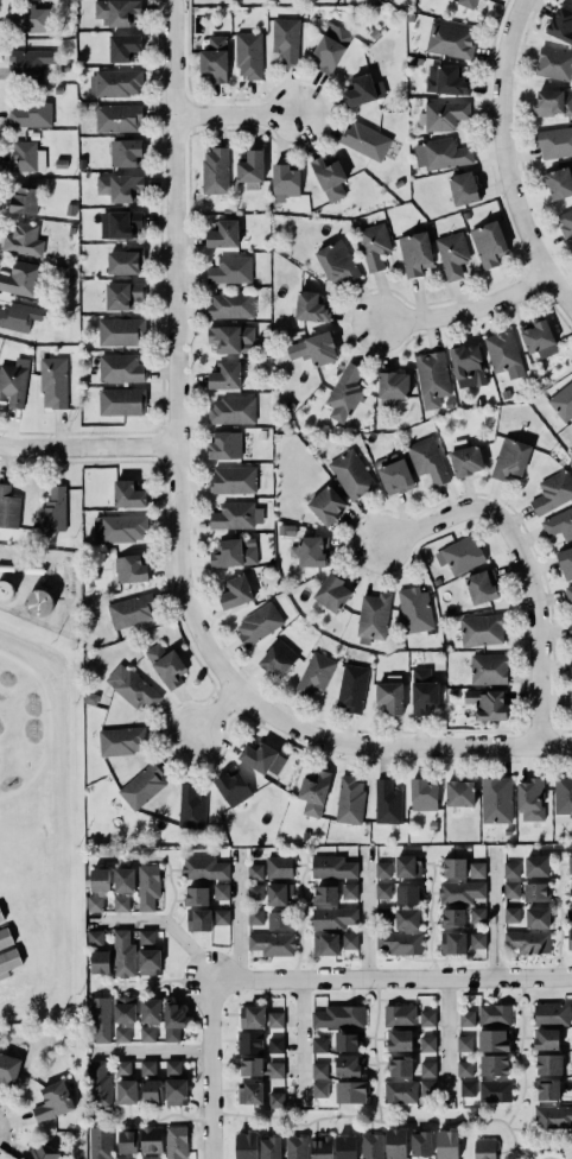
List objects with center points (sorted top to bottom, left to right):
building: (485, 0)
building: (466, 2)
building: (116, 12)
building: (31, 18)
building: (561, 24)
building: (285, 38)
building: (450, 39)
building: (123, 46)
building: (330, 46)
building: (248, 55)
building: (215, 59)
building: (553, 62)
building: (30, 63)
building: (445, 80)
building: (115, 83)
building: (363, 90)
building: (551, 102)
building: (31, 113)
building: (445, 113)
road: (234, 116)
building: (117, 119)
building: (553, 140)
building: (368, 141)
building: (126, 152)
building: (445, 153)
building: (26, 157)
road: (506, 161)
building: (250, 166)
building: (215, 171)
building: (329, 177)
building: (558, 180)
building: (285, 182)
building: (120, 186)
building: (463, 188)
building: (25, 199)
building: (120, 223)
building: (566, 223)
building: (223, 234)
building: (23, 240)
building: (489, 243)
building: (374, 246)
building: (571, 251)
building: (414, 253)
building: (452, 254)
building: (126, 261)
building: (337, 261)
building: (230, 270)
building: (20, 278)
building: (123, 294)
building: (230, 305)
building: (310, 308)
road: (464, 310)
building: (15, 317)
building: (121, 331)
building: (538, 336)
building: (231, 338)
building: (318, 348)
road: (172, 353)
building: (504, 353)
building: (469, 363)
building: (120, 368)
building: (432, 374)
building: (225, 376)
building: (53, 380)
building: (13, 384)
building: (393, 384)
building: (345, 392)
building: (121, 400)
building: (563, 401)
building: (231, 410)
road: (85, 445)
building: (224, 445)
building: (511, 457)
building: (427, 460)
building: (466, 460)
building: (351, 474)
building: (395, 476)
building: (233, 479)
building: (553, 492)
building: (128, 494)
building: (326, 505)
building: (8, 507)
building: (53, 511)
building: (233, 514)
building: (559, 522)
building: (122, 526)
building: (313, 551)
building: (234, 552)
building: (460, 555)
road: (519, 563)
building: (565, 563)
building: (131, 568)
building: (482, 587)
building: (236, 591)
building: (332, 594)
building: (568, 594)
building: (414, 609)
building: (132, 610)
building: (373, 616)
building: (259, 623)
building: (482, 628)
building: (570, 629)
building: (274, 653)
building: (164, 663)
building: (570, 665)
building: (489, 667)
building: (313, 673)
building: (129, 685)
building: (351, 688)
building: (424, 691)
building: (390, 696)
building: (488, 704)
building: (571, 709)
road: (214, 712)
building: (120, 740)
road: (395, 746)
building: (260, 755)
building: (140, 785)
building: (230, 785)
building: (313, 793)
building: (459, 793)
building: (422, 794)
building: (563, 796)
building: (349, 799)
building: (188, 800)
building: (387, 800)
building: (496, 800)
building: (530, 800)
road: (165, 862)
building: (571, 863)
building: (332, 866)
building: (408, 866)
building: (536, 866)
building: (279, 867)
building: (203, 868)
building: (455, 868)
building: (382, 869)
building: (510, 869)
building: (476, 870)
building: (255, 872)
building: (100, 880)
building: (123, 880)
building: (147, 886)
building: (571, 887)
building: (511, 889)
building: (221, 891)
building: (349, 891)
building: (382, 891)
building: (255, 892)
building: (460, 892)
building: (535, 892)
building: (279, 894)
building: (407, 894)
building: (324, 895)
building: (196, 897)
building: (95, 904)
building: (121, 904)
road: (364, 911)
road: (492, 911)
road: (235, 912)
building: (568, 913)
building: (477, 914)
building: (511, 914)
road: (301, 916)
building: (383, 916)
building: (221, 917)
building: (255, 917)
building: (332, 918)
building: (452, 918)
building: (538, 918)
building: (199, 919)
building: (406, 919)
building: (280, 920)
road: (428, 920)
road: (559, 920)
road: (159, 921)
building: (5, 933)
building: (95, 937)
building: (146, 937)
building: (568, 938)
building: (477, 939)
building: (349, 940)
building: (528, 942)
building: (399, 943)
building: (453, 943)
building: (272, 944)
building: (325, 944)
building: (123, 954)
building: (8, 961)
building: (100, 962)
building: (150, 962)
road: (392, 976)
road: (153, 984)
building: (125, 1009)
building: (151, 1011)
building: (551, 1014)
building: (399, 1015)
building: (495, 1015)
building: (252, 1016)
building: (338, 1016)
building: (98, 1018)
building: (466, 1018)
building: (275, 1019)
building: (427, 1019)
building: (173, 1021)
building: (121, 1033)
building: (147, 1033)
building: (546, 1039)
building: (400, 1040)
road: (445, 1040)
building: (494, 1040)
road: (298, 1041)
building: (571, 1041)
building: (249, 1043)
building: (464, 1043)
building: (427, 1044)
building: (275, 1045)
building: (319, 1045)
road: (373, 1049)
road: (148, 1050)
road: (519, 1052)
building: (548, 1064)
building: (348, 1065)
building: (494, 1065)
building: (147, 1066)
building: (172, 1066)
road: (212, 1066)
building: (400, 1066)
building: (260, 1068)
building: (464, 1068)
building: (571, 1068)
building: (8, 1069)
building: (319, 1069)
building: (427, 1069)
building: (123, 1081)
building: (98, 1085)
building: (319, 1088)
building: (426, 1088)
building: (468, 1088)
building: (548, 1090)
building: (152, 1091)
building: (176, 1091)
building: (400, 1091)
building: (495, 1091)
building: (249, 1092)
building: (350, 1092)
building: (571, 1092)
building: (52, 1100)
building: (277, 1100)
building: (553, 1117)
road: (155, 1119)
road: (379, 1122)
building: (126, 1138)
building: (150, 1138)
building: (97, 1141)
building: (174, 1141)
building: (395, 1144)
building: (421, 1144)
building: (447, 1145)
building: (322, 1146)
building: (371, 1146)
building: (242, 1147)
building: (271, 1147)
building: (297, 1147)
building: (345, 1147)
building: (484, 1148)
building: (40, 1151)
building: (121, 1157)
building: (146, 1157)
road: (546, 1158)

